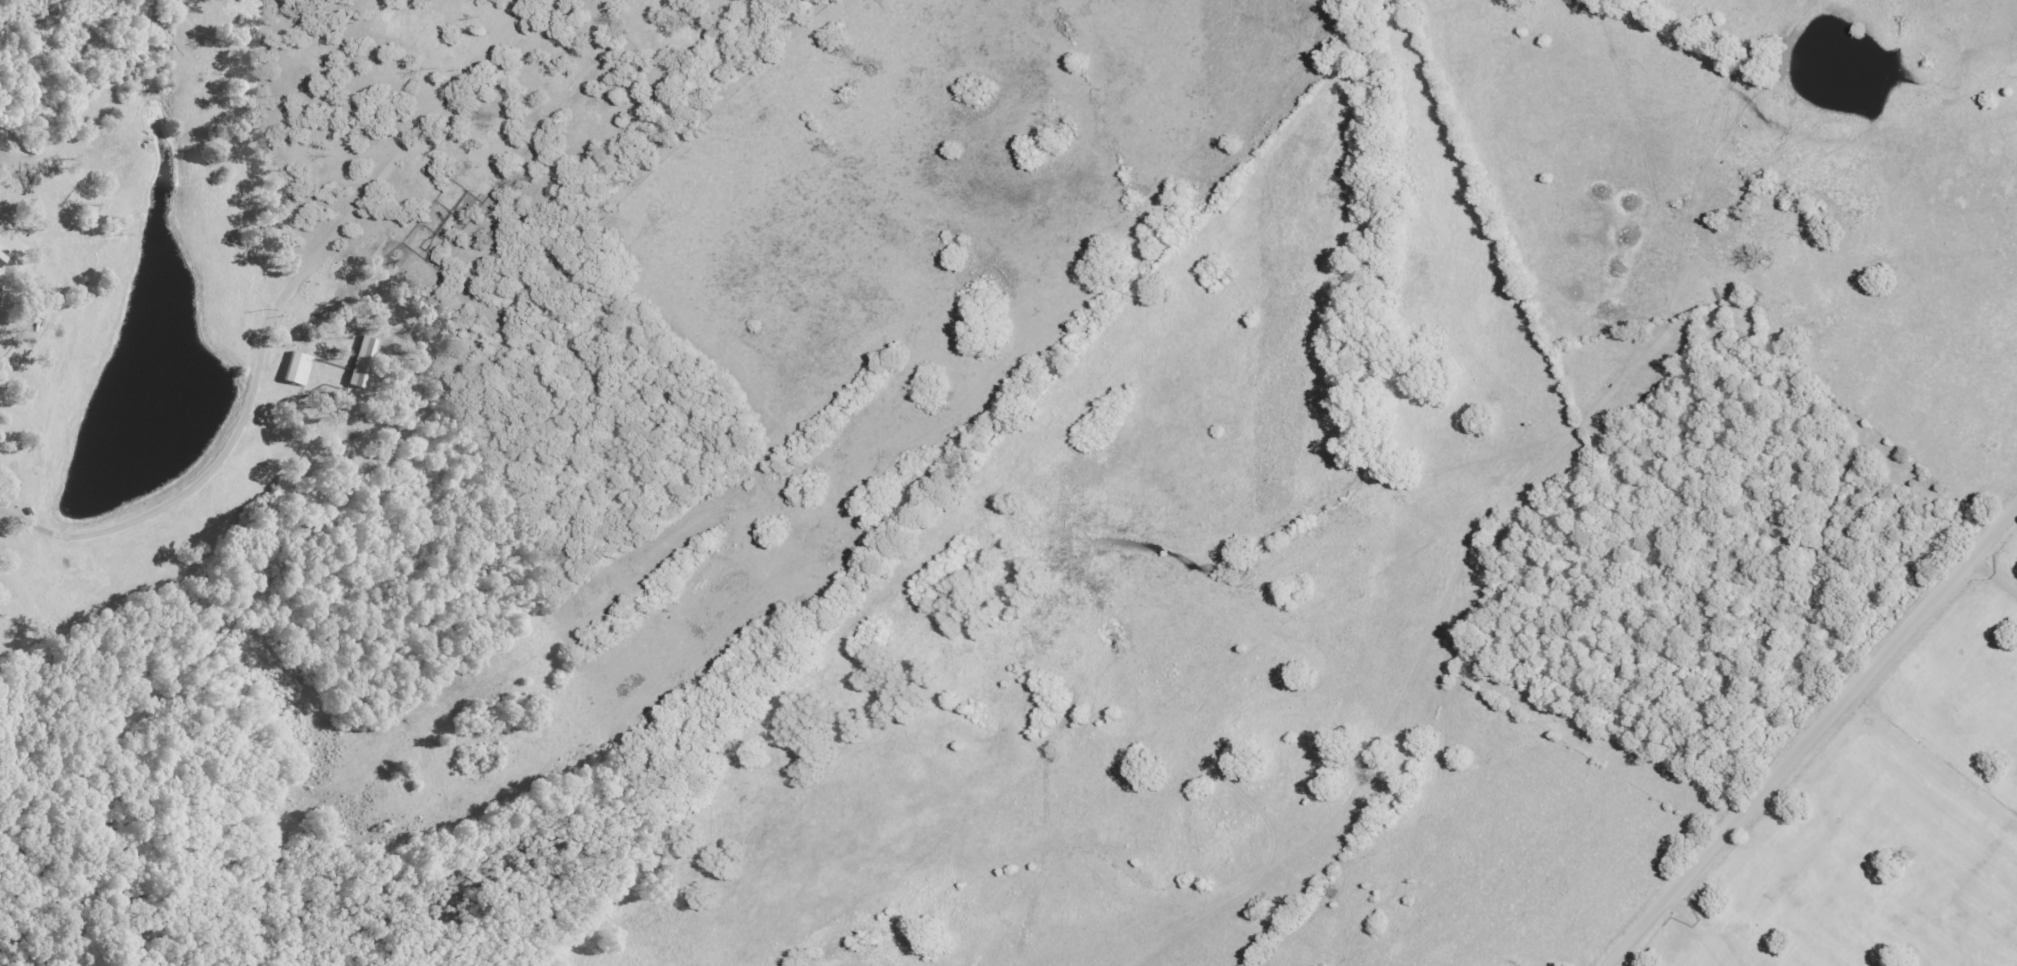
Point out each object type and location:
road: (434, 101)
building: (0, 296)
building: (300, 369)
road: (1813, 738)

